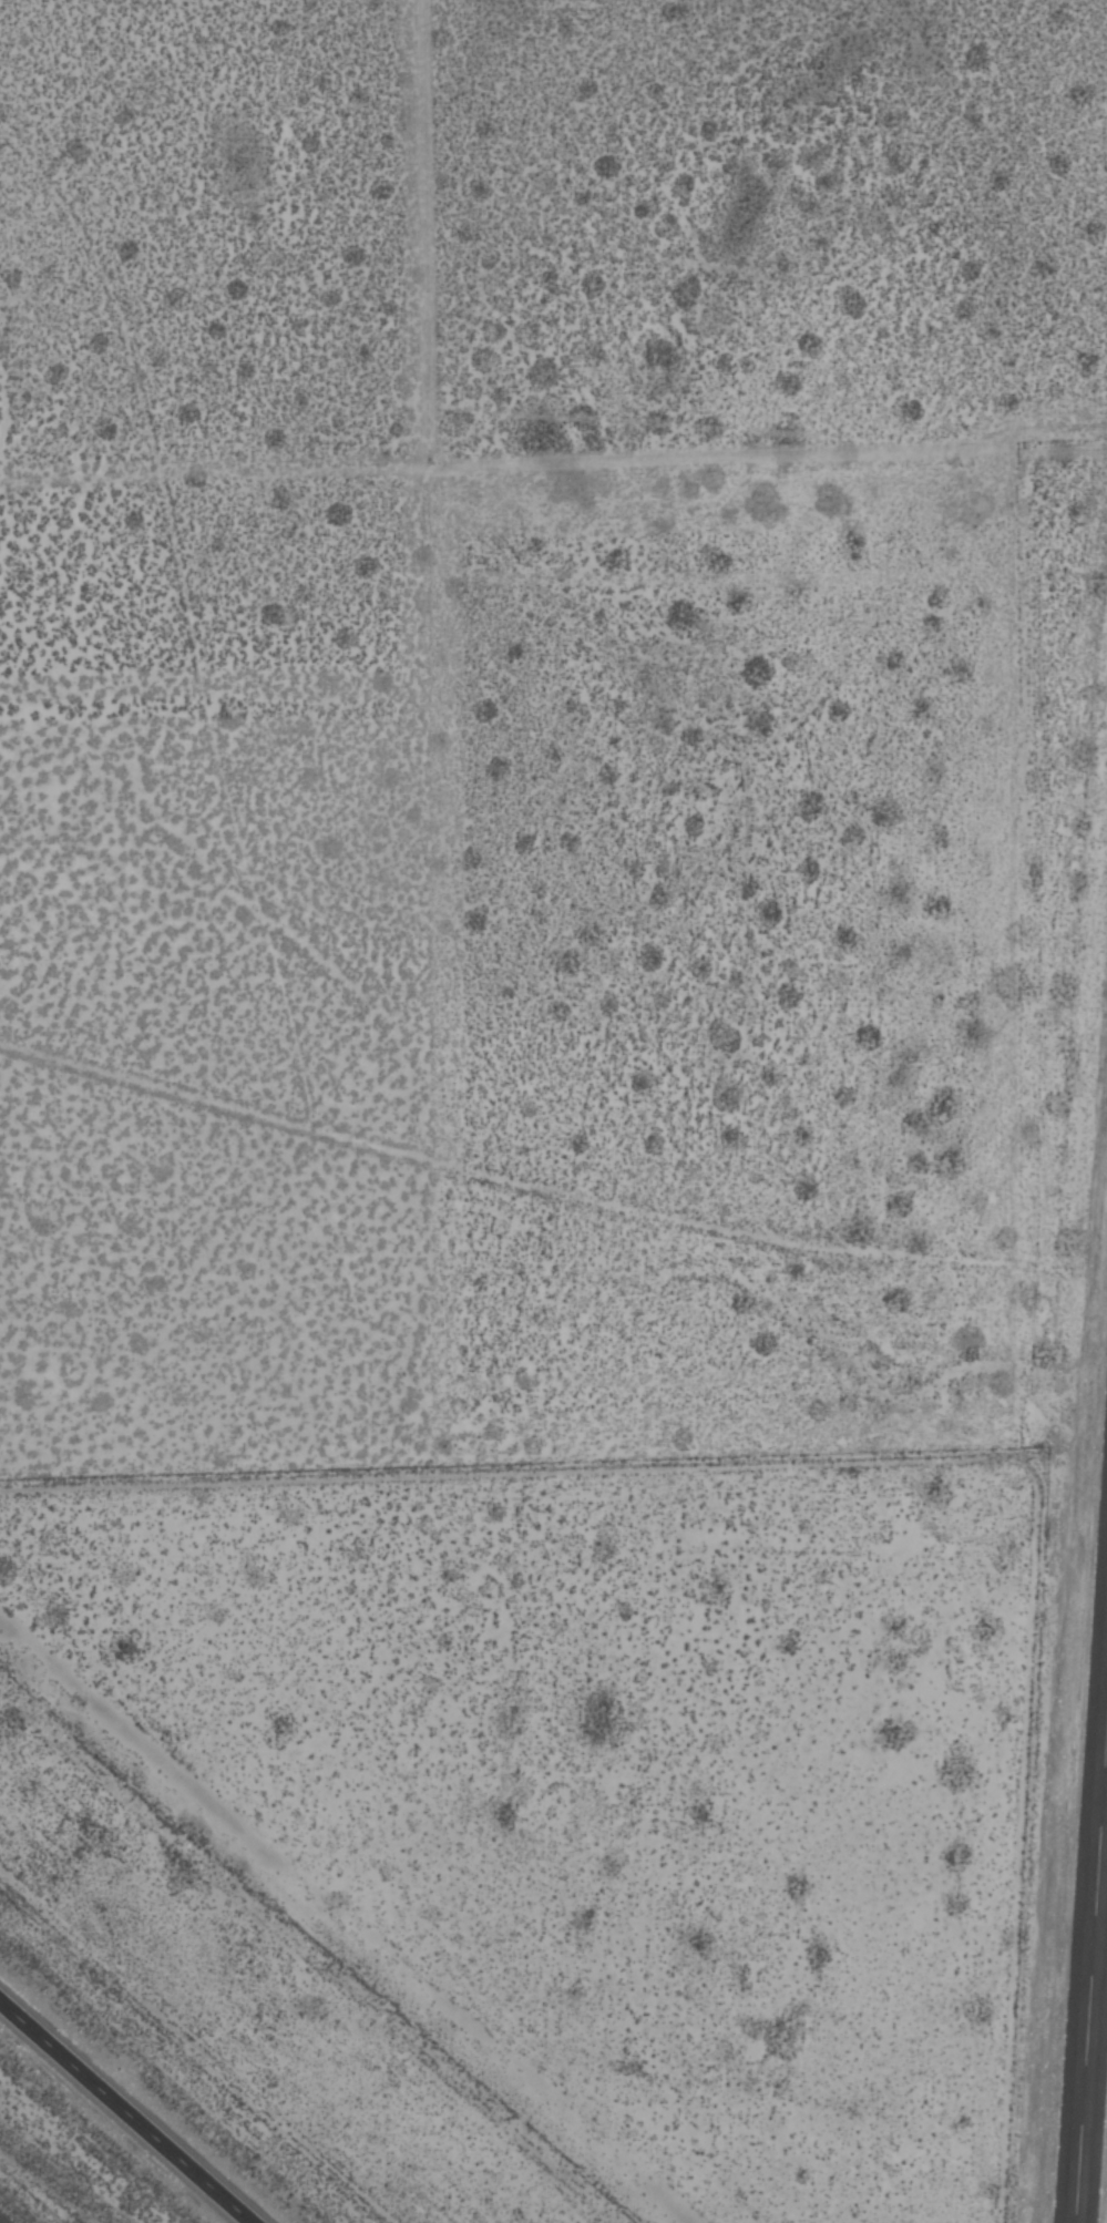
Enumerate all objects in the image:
airport runway: (1094, 2030)
road: (123, 2114)

